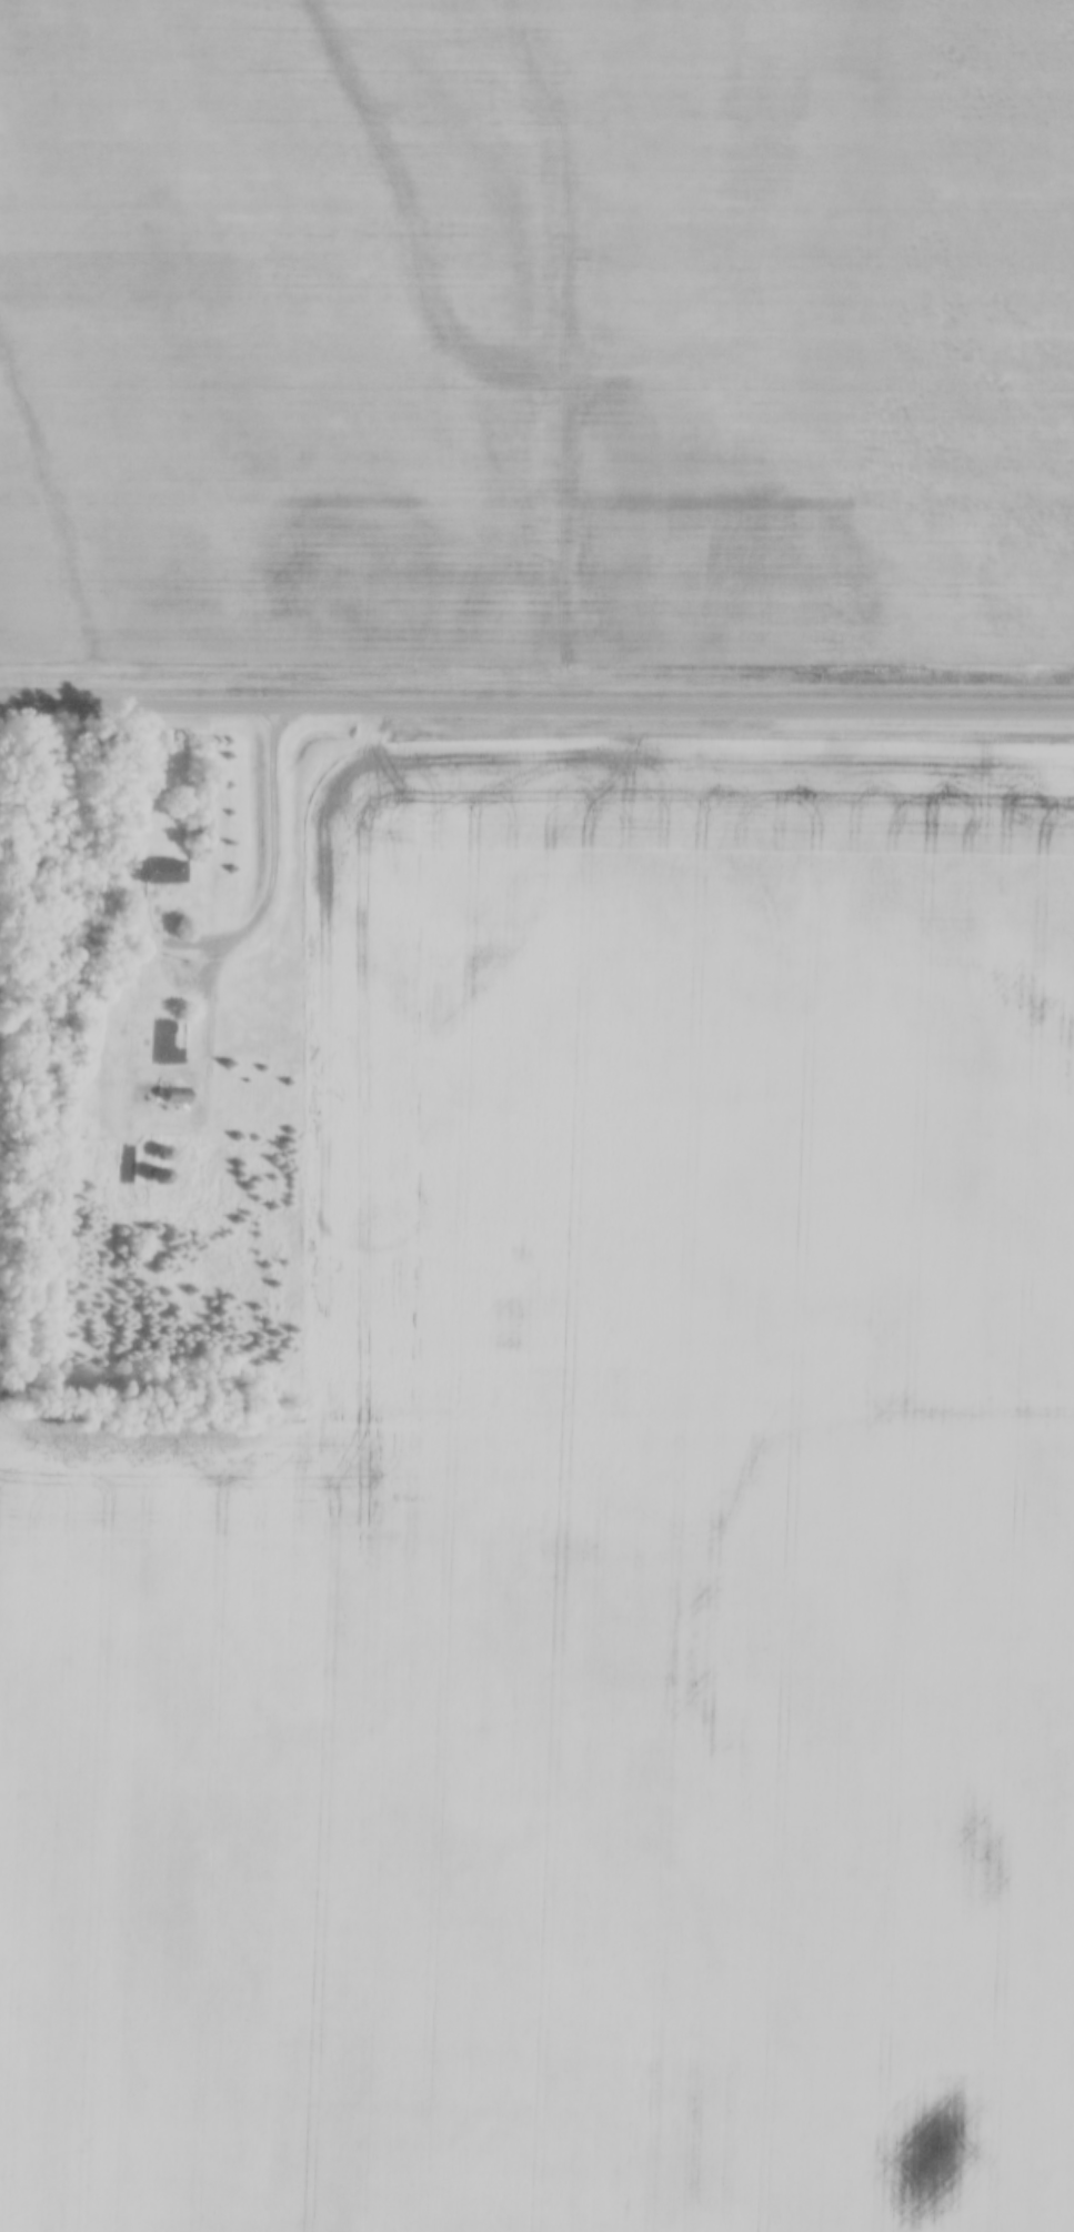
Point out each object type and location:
road: (536, 706)
building: (158, 868)
road: (265, 891)
road: (187, 972)
road: (203, 1035)
building: (169, 1094)
building: (159, 1150)
silo: (159, 1150)
building: (155, 1175)
silo: (155, 1175)

